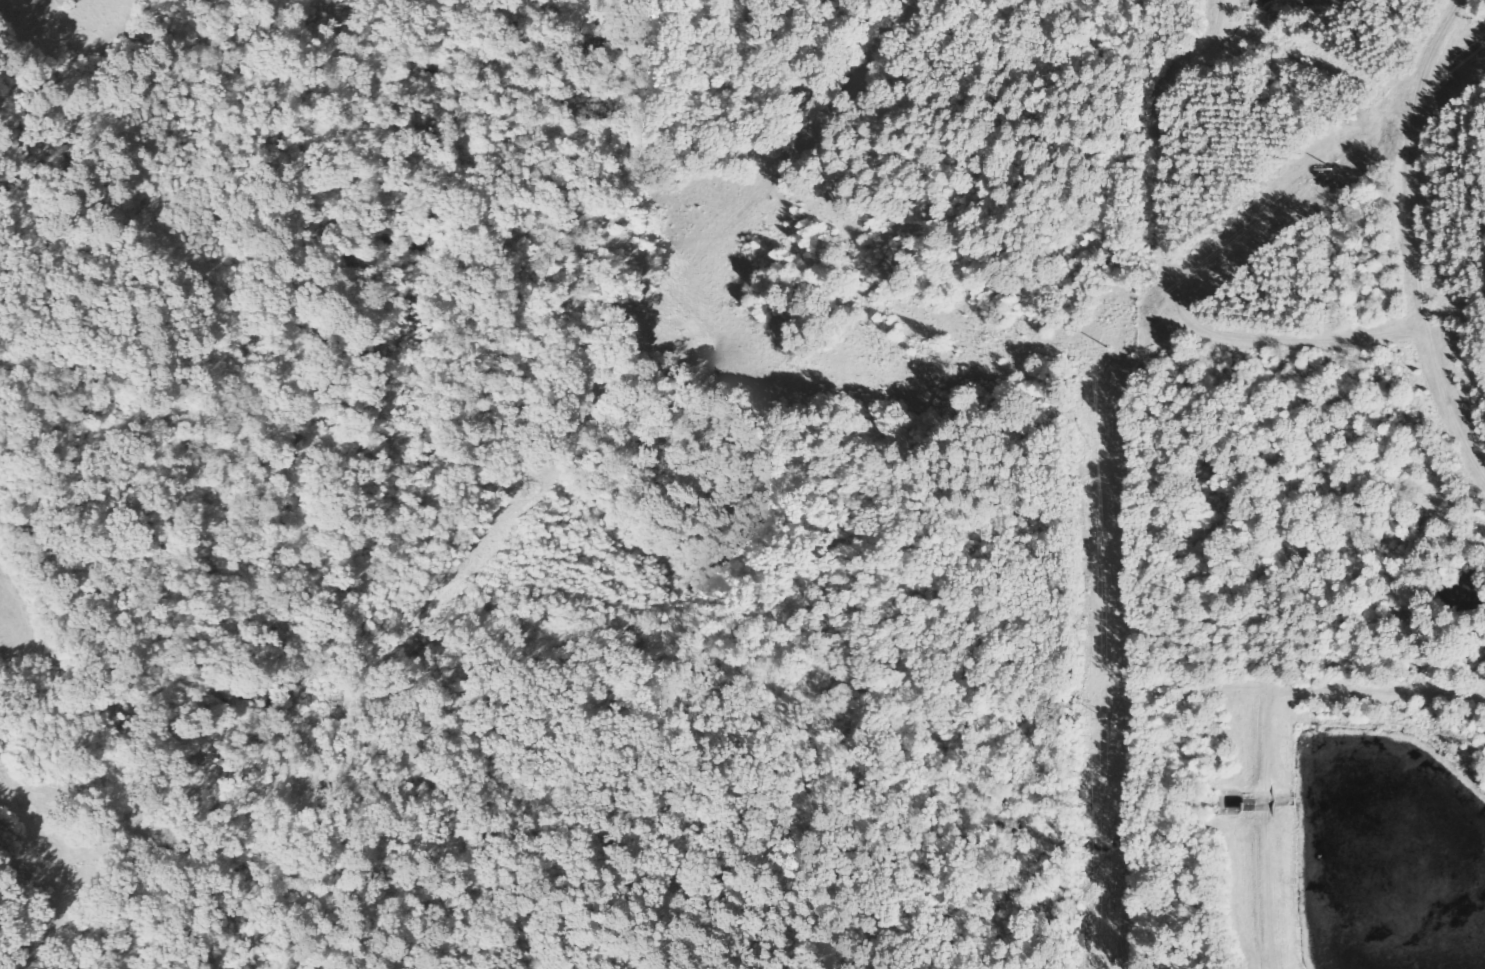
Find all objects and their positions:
power tower: (1336, 167)
power tower: (1114, 346)
power tower: (1112, 718)

